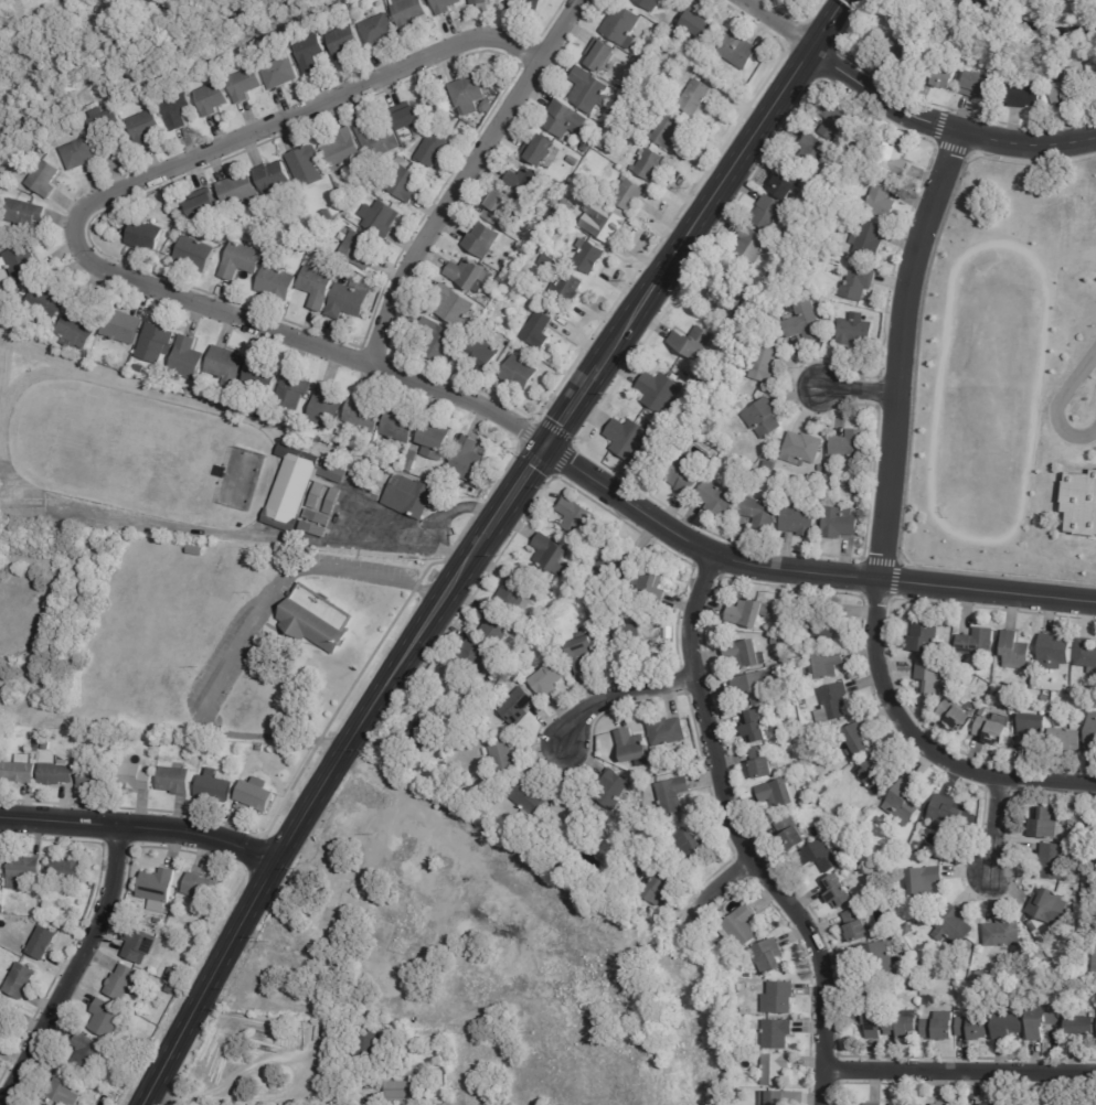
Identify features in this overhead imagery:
building: (360, 0)
building: (479, 2)
building: (526, 4)
building: (651, 4)
building: (445, 6)
building: (408, 12)
road: (778, 22)
building: (700, 24)
building: (623, 28)
building: (377, 31)
building: (343, 43)
park: (113, 47)
building: (738, 51)
building: (309, 53)
building: (903, 53)
building: (605, 58)
building: (279, 74)
building: (941, 74)
building: (1094, 79)
building: (981, 84)
building: (243, 85)
building: (1071, 90)
building: (589, 92)
building: (1029, 93)
building: (469, 95)
building: (211, 99)
building: (696, 99)
building: (1002, 99)
building: (488, 107)
building: (175, 110)
building: (409, 118)
building: (837, 118)
building: (104, 120)
building: (564, 120)
road: (943, 127)
building: (642, 128)
building: (145, 129)
building: (668, 132)
building: (377, 141)
building: (586, 148)
building: (813, 150)
building: (433, 151)
building: (540, 151)
building: (344, 152)
building: (79, 155)
building: (892, 158)
building: (574, 162)
building: (651, 165)
building: (307, 168)
building: (377, 172)
building: (7, 176)
road: (464, 178)
building: (43, 179)
building: (788, 181)
building: (274, 182)
road: (721, 183)
building: (525, 184)
building: (405, 185)
building: (238, 191)
building: (368, 195)
building: (628, 195)
building: (347, 200)
building: (882, 200)
building: (204, 205)
building: (565, 207)
building: (501, 208)
building: (770, 211)
building: (25, 214)
building: (328, 216)
building: (381, 219)
building: (552, 219)
building: (604, 222)
road: (76, 236)
building: (145, 236)
building: (870, 239)
building: (481, 240)
building: (540, 240)
building: (754, 243)
building: (827, 243)
building: (359, 251)
building: (129, 254)
building: (195, 255)
building: (588, 257)
building: (241, 262)
building: (547, 262)
building: (21, 264)
building: (347, 273)
building: (467, 275)
building: (804, 280)
building: (859, 282)
building: (277, 283)
building: (317, 288)
building: (567, 289)
building: (730, 291)
building: (530, 294)
building: (45, 302)
building: (349, 303)
building: (454, 307)
building: (739, 322)
building: (493, 324)
building: (121, 326)
building: (471, 326)
building: (807, 326)
building: (77, 328)
building: (539, 332)
building: (856, 332)
building: (462, 337)
building: (155, 342)
building: (438, 342)
building: (693, 342)
building: (482, 355)
building: (187, 360)
building: (766, 364)
building: (226, 365)
building: (139, 369)
building: (55, 373)
building: (85, 374)
building: (519, 374)
building: (262, 377)
building: (114, 382)
track: (1036, 387)
building: (141, 388)
building: (292, 390)
building: (189, 391)
building: (660, 391)
road: (858, 391)
building: (168, 396)
building: (211, 398)
road: (1056, 405)
road: (576, 407)
building: (326, 409)
building: (365, 412)
building: (765, 418)
building: (398, 426)
building: (629, 438)
building: (435, 440)
building: (245, 442)
building: (852, 443)
traffic signals: (551, 446)
building: (805, 448)
road: (907, 453)
building: (412, 460)
building: (468, 460)
building: (772, 463)
road: (1088, 465)
building: (685, 479)
building: (776, 484)
building: (298, 486)
road: (518, 491)
building: (318, 495)
building: (411, 495)
building: (719, 497)
building: (333, 502)
building: (1079, 503)
road: (473, 508)
building: (763, 512)
building: (576, 515)
building: (318, 517)
building: (799, 522)
building: (841, 523)
road: (337, 525)
building: (315, 529)
road: (882, 530)
road: (436, 545)
building: (196, 550)
building: (552, 554)
building: (618, 561)
road: (806, 570)
building: (652, 587)
building: (515, 593)
building: (598, 603)
building: (751, 613)
building: (318, 619)
building: (578, 619)
building: (821, 622)
building: (497, 626)
building: (672, 630)
building: (779, 631)
building: (927, 634)
building: (557, 636)
road: (241, 637)
building: (670, 640)
building: (979, 642)
building: (625, 643)
building: (657, 643)
building: (1015, 652)
building: (1054, 652)
building: (584, 654)
building: (1087, 654)
building: (748, 655)
building: (475, 656)
building: (827, 665)
building: (448, 675)
building: (549, 678)
building: (935, 678)
building: (521, 680)
building: (493, 683)
building: (1036, 683)
building: (759, 687)
building: (476, 694)
road: (623, 694)
building: (1056, 695)
building: (834, 704)
building: (518, 707)
building: (983, 711)
building: (956, 715)
building: (755, 727)
building: (799, 729)
building: (1032, 729)
building: (667, 731)
building: (991, 731)
building: (422, 733)
building: (1092, 734)
building: (1067, 736)
building: (860, 740)
building: (46, 745)
building: (631, 745)
building: (259, 748)
building: (485, 752)
building: (504, 759)
building: (764, 764)
building: (661, 769)
building: (20, 771)
building: (876, 772)
building: (56, 774)
building: (96, 777)
building: (135, 779)
building: (175, 781)
building: (214, 787)
building: (613, 790)
building: (256, 795)
building: (780, 795)
building: (670, 796)
building: (529, 800)
building: (906, 802)
building: (572, 811)
building: (869, 811)
road: (305, 815)
building: (837, 816)
building: (950, 817)
building: (1045, 824)
road: (997, 825)
road: (141, 827)
road: (437, 827)
building: (794, 835)
road: (741, 839)
building: (693, 847)
building: (827, 855)
building: (1055, 861)
building: (0, 867)
road: (359, 869)
building: (67, 871)
building: (23, 872)
building: (926, 881)
road: (719, 884)
building: (404, 886)
building: (660, 887)
building: (159, 889)
building: (203, 889)
building: (839, 892)
building: (351, 900)
building: (371, 905)
building: (66, 908)
building: (383, 908)
building: (1050, 908)
building: (158, 921)
building: (859, 926)
building: (954, 926)
building: (1033, 926)
building: (741, 927)
building: (909, 931)
building: (1003, 934)
building: (387, 935)
building: (42, 944)
building: (140, 946)
building: (769, 958)
building: (876, 959)
road: (75, 970)
building: (1095, 970)
building: (918, 974)
building: (948, 975)
building: (175, 976)
building: (980, 976)
building: (21, 981)
building: (126, 984)
building: (172, 990)
building: (927, 991)
building: (779, 998)
building: (6, 1011)
building: (870, 1017)
building: (106, 1019)
building: (1044, 1020)
building: (1010, 1024)
building: (904, 1026)
building: (943, 1027)
building: (1081, 1028)
building: (978, 1030)
building: (776, 1033)
building: (370, 1042)
building: (1, 1049)
building: (89, 1054)
building: (775, 1070)
road: (959, 1074)
building: (741, 1080)
road: (221, 1085)
building: (65, 1088)
building: (406, 1093)
building: (775, 1098)
building: (43, 1104)
building: (871, 1104)
building: (903, 1104)
building: (940, 1104)
building: (989, 1104)

